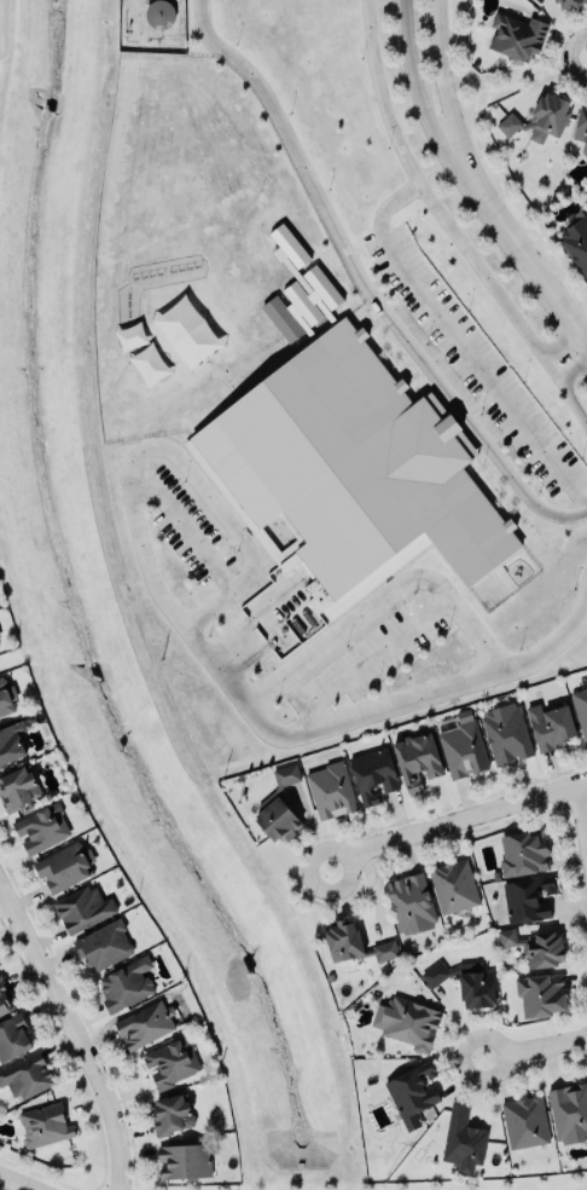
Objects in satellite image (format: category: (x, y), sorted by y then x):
building: (570, 2)
road: (5, 28)
building: (517, 35)
road: (558, 51)
road: (583, 52)
road: (436, 68)
road: (413, 71)
road: (519, 76)
building: (540, 115)
building: (581, 125)
road: (488, 163)
road: (431, 197)
road: (458, 202)
building: (576, 242)
road: (516, 243)
road: (362, 285)
building: (302, 304)
building: (187, 330)
road: (583, 337)
road: (460, 339)
road: (569, 385)
road: (174, 451)
building: (350, 473)
road: (383, 597)
building: (0, 634)
road: (367, 658)
building: (6, 697)
building: (581, 705)
road: (383, 706)
building: (551, 724)
building: (507, 732)
building: (11, 740)
building: (464, 747)
building: (417, 758)
building: (286, 774)
building: (373, 774)
building: (18, 788)
building: (331, 788)
road: (582, 808)
building: (279, 820)
road: (455, 820)
building: (42, 827)
building: (524, 851)
building: (65, 865)
building: (454, 885)
building: (528, 899)
road: (335, 901)
building: (411, 902)
building: (82, 907)
building: (355, 943)
building: (104, 945)
building: (536, 946)
building: (437, 972)
building: (126, 984)
building: (476, 984)
building: (541, 994)
building: (5, 998)
road: (82, 1013)
building: (408, 1019)
building: (144, 1022)
road: (75, 1033)
building: (13, 1036)
road: (534, 1051)
road: (451, 1058)
building: (172, 1062)
building: (25, 1074)
building: (412, 1092)
road: (89, 1094)
building: (569, 1111)
building: (172, 1114)
building: (525, 1121)
building: (43, 1123)
building: (464, 1139)
building: (186, 1160)
road: (18, 1182)
road: (574, 1188)
road: (0, 1189)

